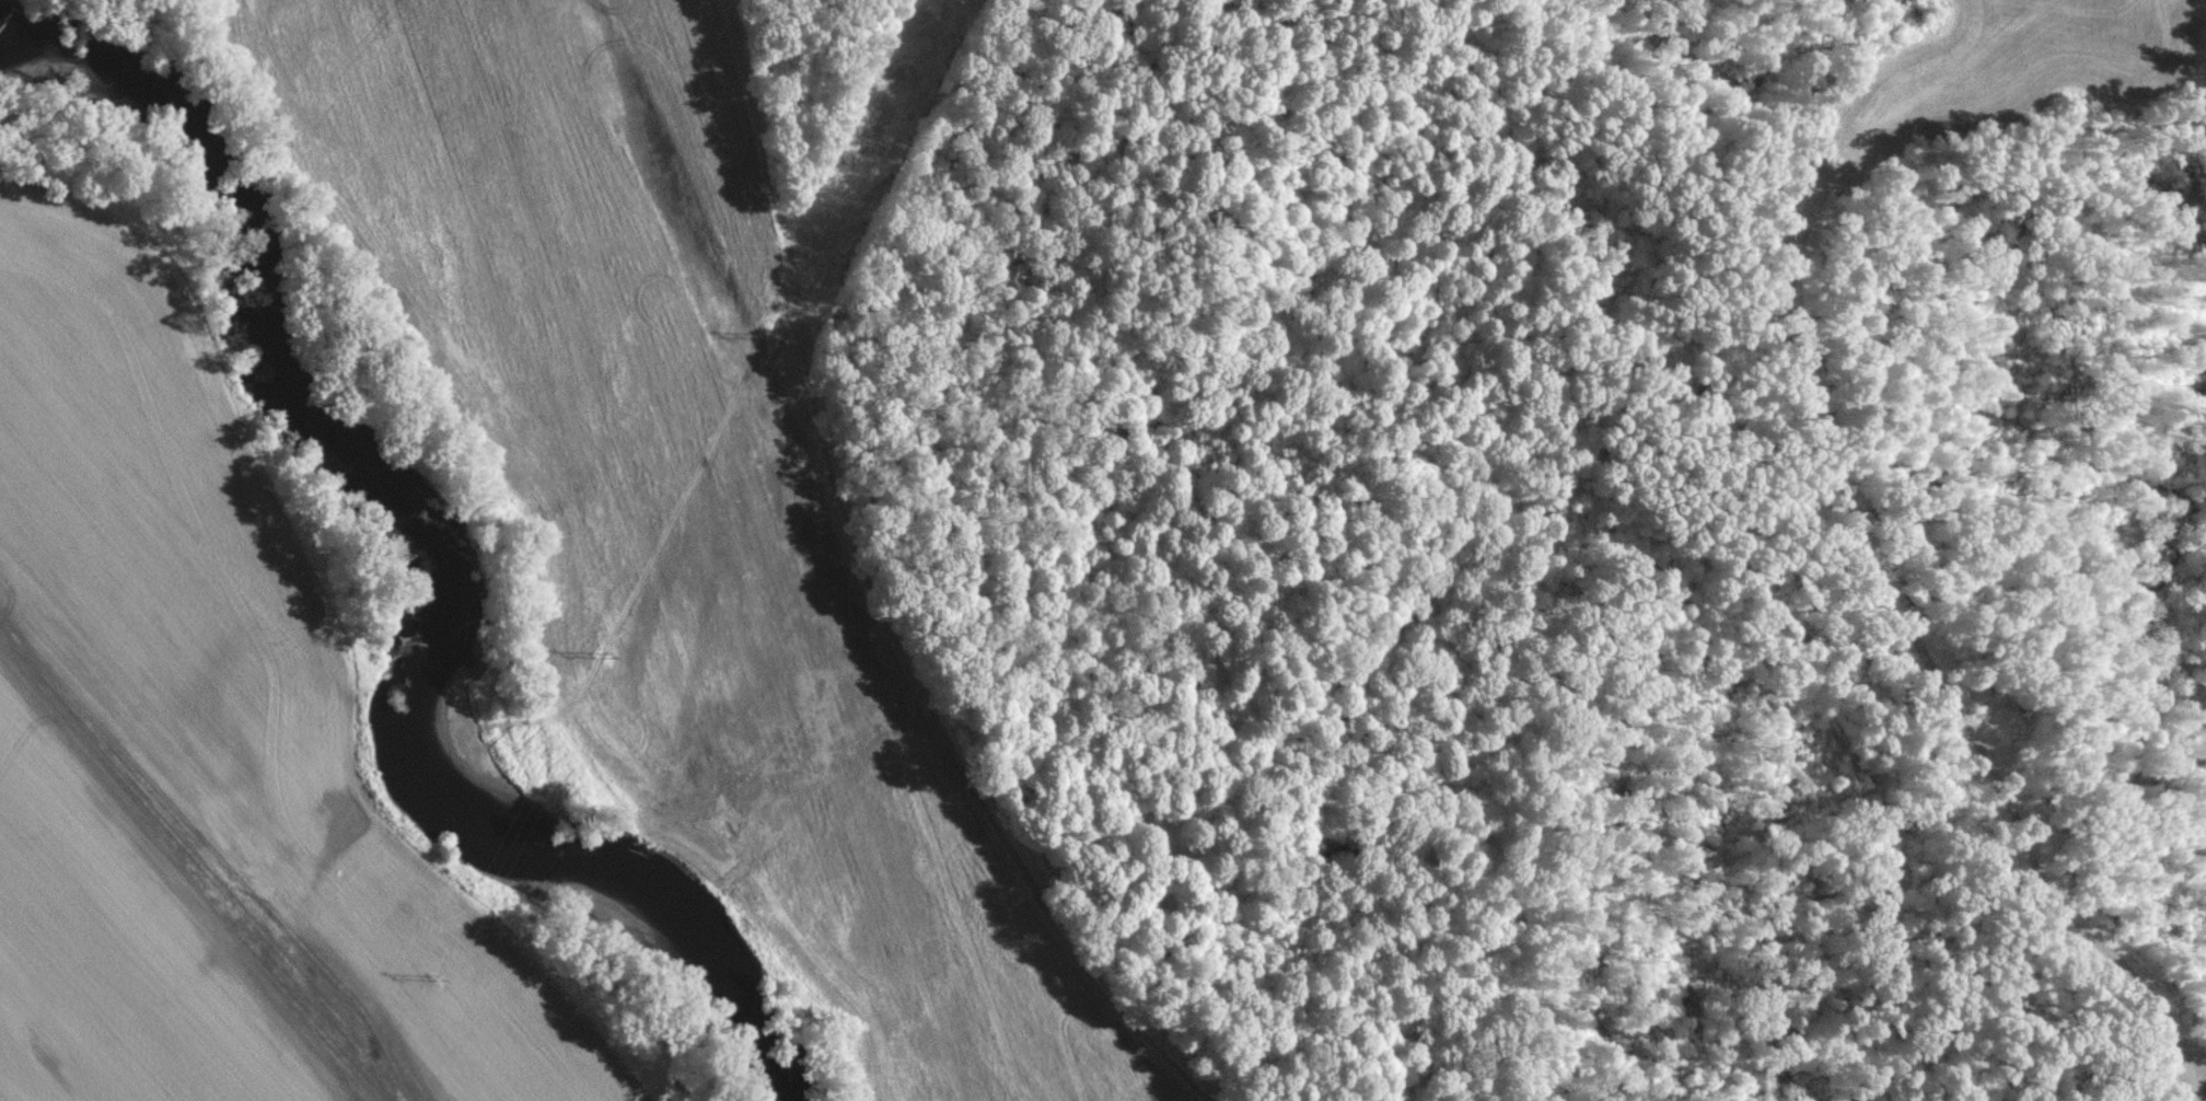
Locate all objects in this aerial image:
river: (426, 579)

